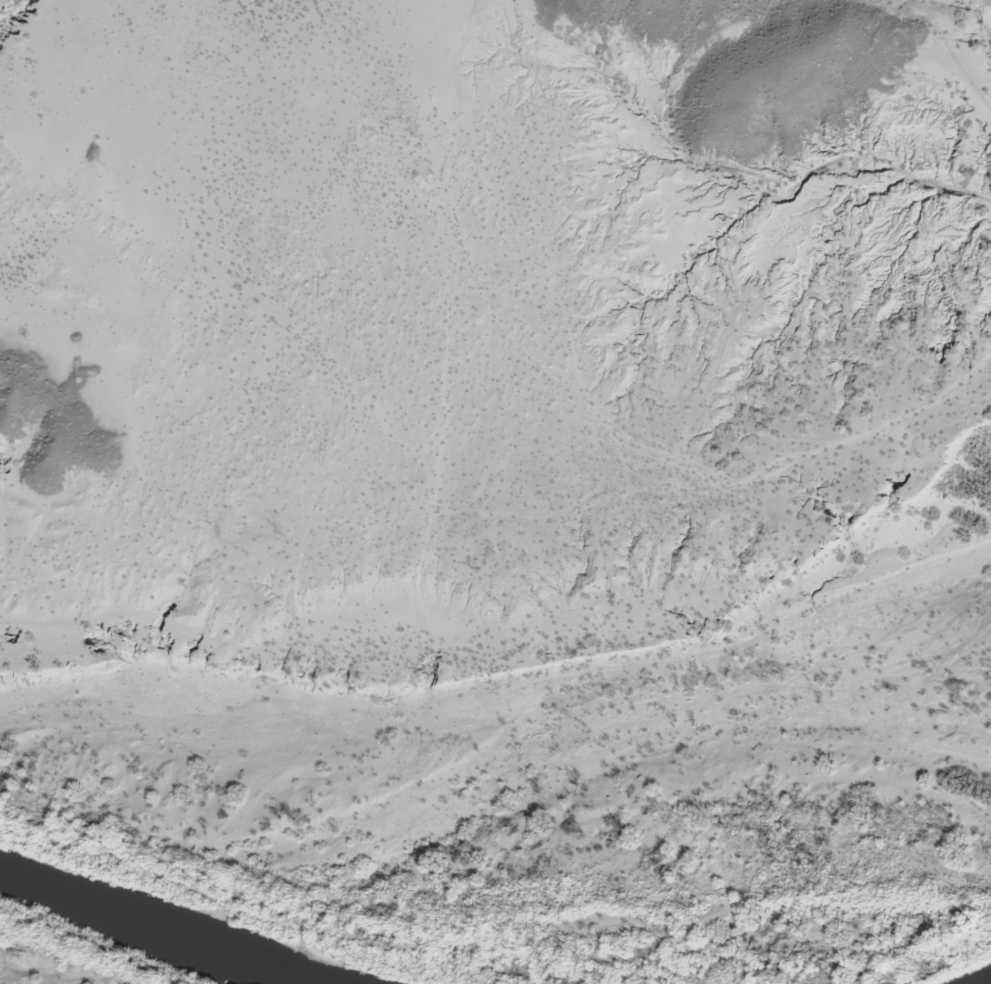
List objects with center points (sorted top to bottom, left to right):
road: (989, 2)
river: (197, 934)
river: (963, 977)

